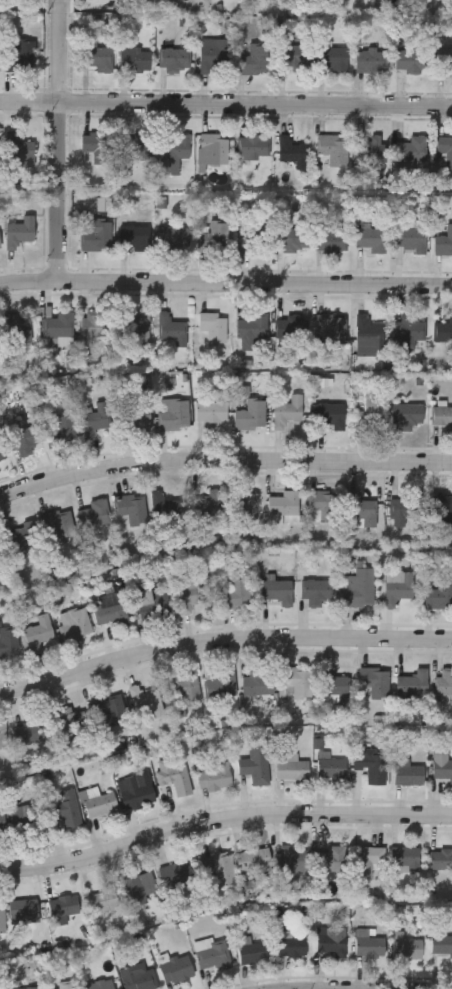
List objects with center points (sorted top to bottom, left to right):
building: (19, 54)
building: (213, 57)
building: (133, 59)
building: (98, 60)
building: (293, 60)
building: (332, 60)
building: (0, 61)
building: (174, 61)
building: (254, 62)
building: (371, 62)
building: (410, 62)
building: (443, 62)
road: (225, 107)
road: (57, 140)
building: (252, 148)
building: (97, 149)
building: (134, 149)
building: (333, 151)
building: (372, 151)
building: (412, 151)
building: (212, 152)
building: (18, 153)
building: (444, 153)
building: (292, 154)
building: (175, 156)
building: (18, 234)
building: (96, 238)
building: (134, 238)
building: (212, 238)
building: (249, 238)
building: (172, 239)
building: (292, 240)
building: (330, 242)
building: (370, 243)
building: (410, 243)
building: (443, 245)
building: (0, 251)
road: (225, 287)
building: (58, 326)
building: (96, 326)
building: (136, 328)
building: (213, 328)
building: (289, 328)
building: (251, 329)
building: (331, 330)
building: (17, 331)
building: (172, 331)
building: (409, 331)
building: (443, 333)
building: (368, 335)
building: (211, 413)
building: (287, 413)
building: (174, 415)
building: (251, 416)
building: (329, 416)
building: (406, 417)
building: (368, 418)
building: (442, 418)
building: (136, 419)
building: (94, 421)
building: (61, 432)
building: (24, 441)
building: (2, 456)
road: (224, 458)
building: (283, 505)
building: (210, 506)
building: (243, 507)
building: (406, 507)
building: (443, 507)
building: (129, 508)
building: (321, 508)
building: (164, 509)
building: (361, 510)
building: (94, 516)
building: (56, 526)
building: (25, 538)
building: (0, 552)
building: (397, 589)
building: (358, 590)
building: (277, 593)
building: (192, 594)
building: (316, 594)
building: (234, 596)
building: (440, 596)
building: (152, 605)
building: (110, 611)
building: (75, 627)
building: (39, 634)
road: (222, 638)
building: (9, 641)
building: (297, 684)
building: (373, 684)
building: (443, 684)
building: (258, 685)
building: (413, 685)
building: (333, 686)
building: (221, 687)
building: (184, 689)
building: (145, 702)
building: (108, 711)
building: (69, 723)
building: (30, 733)
building: (2, 736)
building: (256, 764)
building: (442, 766)
building: (370, 767)
building: (292, 770)
building: (332, 771)
building: (407, 775)
building: (215, 778)
building: (175, 781)
building: (136, 795)
building: (100, 806)
building: (68, 811)
building: (26, 820)
road: (222, 820)
building: (1, 821)
building: (403, 858)
building: (288, 860)
building: (440, 860)
building: (251, 861)
building: (328, 861)
building: (364, 861)
building: (216, 865)
building: (175, 876)
building: (140, 889)
building: (100, 901)
building: (61, 907)
building: (21, 911)
building: (0, 918)
building: (330, 942)
building: (366, 945)
building: (441, 946)
building: (405, 947)
building: (290, 948)
building: (251, 953)
building: (210, 955)
building: (174, 970)
building: (136, 979)
building: (99, 985)
building: (60, 987)
building: (0, 988)
building: (1, 988)
building: (31, 988)

